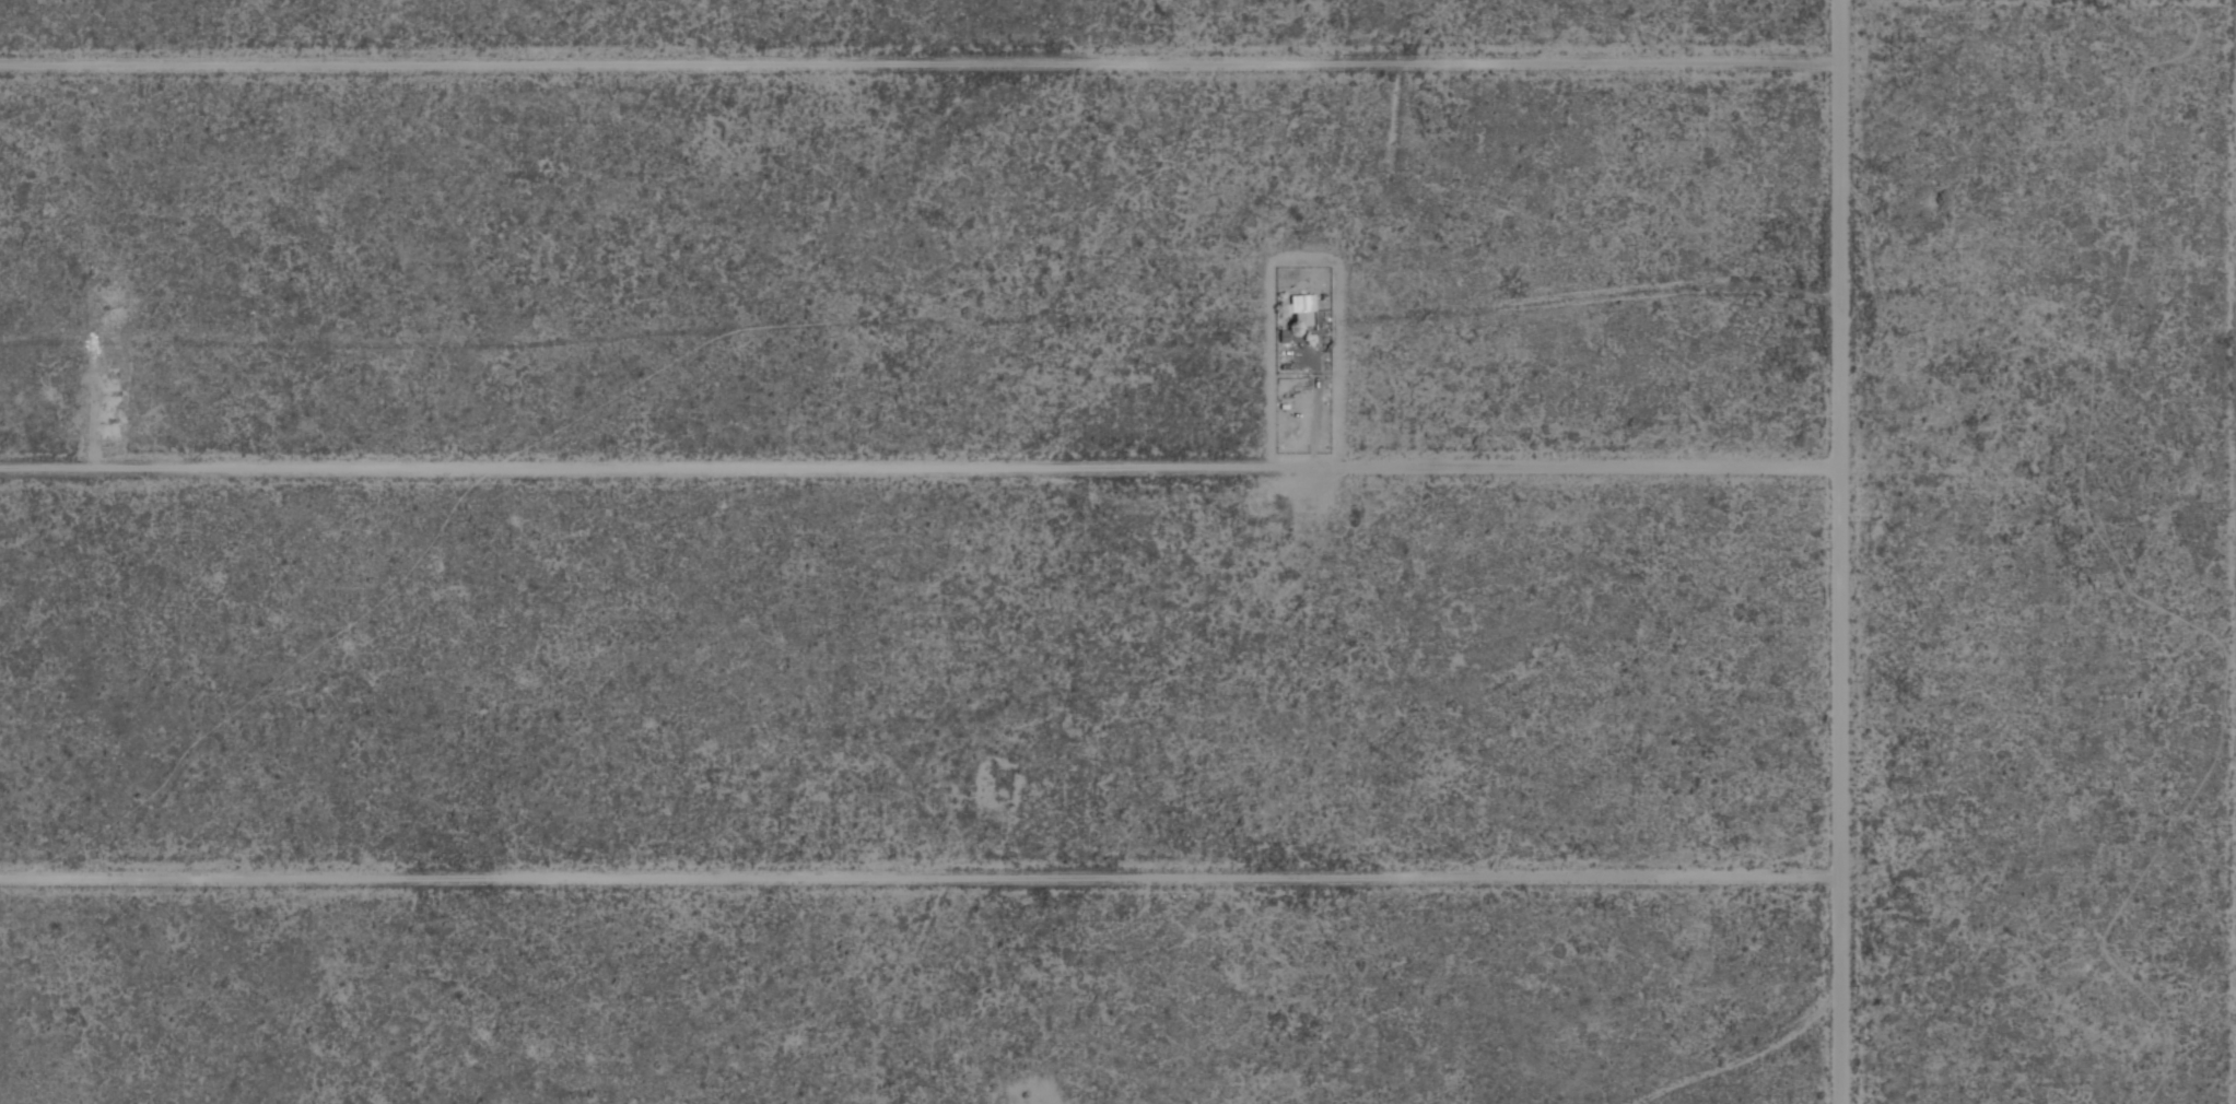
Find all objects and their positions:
road: (1839, 32)
road: (921, 62)
building: (1303, 312)
road: (1316, 404)
road: (917, 466)
road: (1837, 583)
road: (920, 874)

